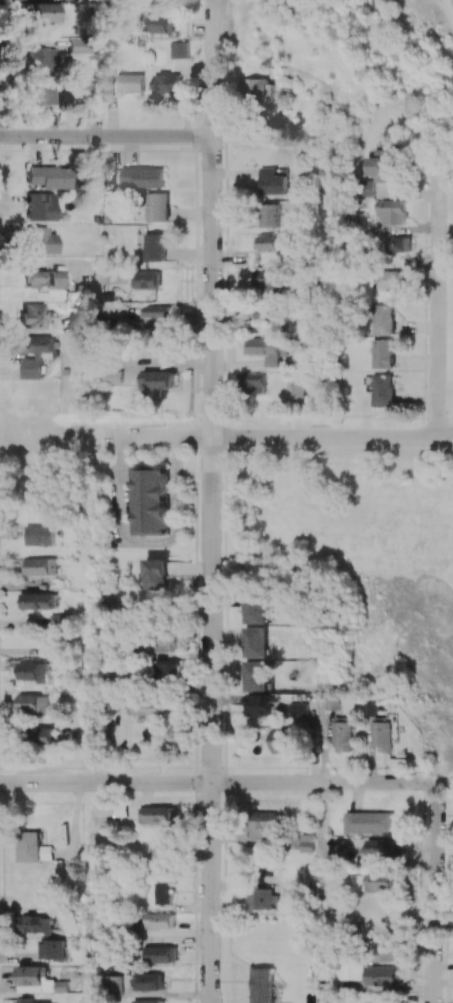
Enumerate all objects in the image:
road: (451, 4)
building: (43, 12)
building: (162, 24)
building: (77, 46)
building: (180, 49)
building: (41, 58)
building: (129, 82)
building: (167, 82)
building: (259, 88)
building: (41, 91)
road: (158, 136)
building: (380, 164)
building: (49, 176)
building: (144, 176)
building: (273, 181)
building: (363, 188)
building: (158, 206)
building: (40, 207)
building: (390, 211)
building: (270, 215)
building: (40, 240)
building: (274, 242)
building: (397, 244)
building: (155, 246)
building: (147, 279)
building: (269, 279)
building: (393, 279)
building: (46, 280)
road: (438, 297)
building: (160, 311)
building: (34, 314)
building: (273, 314)
building: (383, 319)
park: (449, 327)
building: (270, 348)
building: (383, 353)
building: (39, 355)
road: (326, 364)
building: (157, 380)
building: (253, 383)
building: (383, 389)
building: (299, 390)
road: (445, 418)
road: (166, 437)
road: (332, 437)
building: (151, 500)
road: (212, 501)
building: (41, 535)
road: (151, 541)
building: (39, 566)
building: (156, 573)
building: (39, 601)
building: (257, 609)
building: (167, 640)
building: (257, 641)
building: (37, 671)
building: (167, 671)
building: (257, 676)
building: (335, 703)
building: (37, 704)
building: (265, 705)
building: (149, 706)
building: (302, 708)
building: (381, 728)
building: (50, 735)
building: (345, 736)
road: (325, 738)
building: (284, 741)
road: (217, 782)
building: (114, 809)
building: (158, 815)
building: (370, 822)
building: (267, 825)
building: (311, 842)
building: (29, 846)
building: (388, 848)
building: (163, 860)
road: (324, 862)
building: (390, 882)
building: (163, 893)
road: (438, 894)
building: (263, 898)
building: (159, 920)
building: (39, 924)
building: (52, 949)
building: (389, 951)
building: (161, 954)
building: (390, 975)
building: (39, 980)
building: (148, 981)
road: (99, 985)
building: (112, 985)
building: (262, 985)
building: (27, 999)
building: (392, 1000)
building: (149, 1001)
building: (53, 1002)

